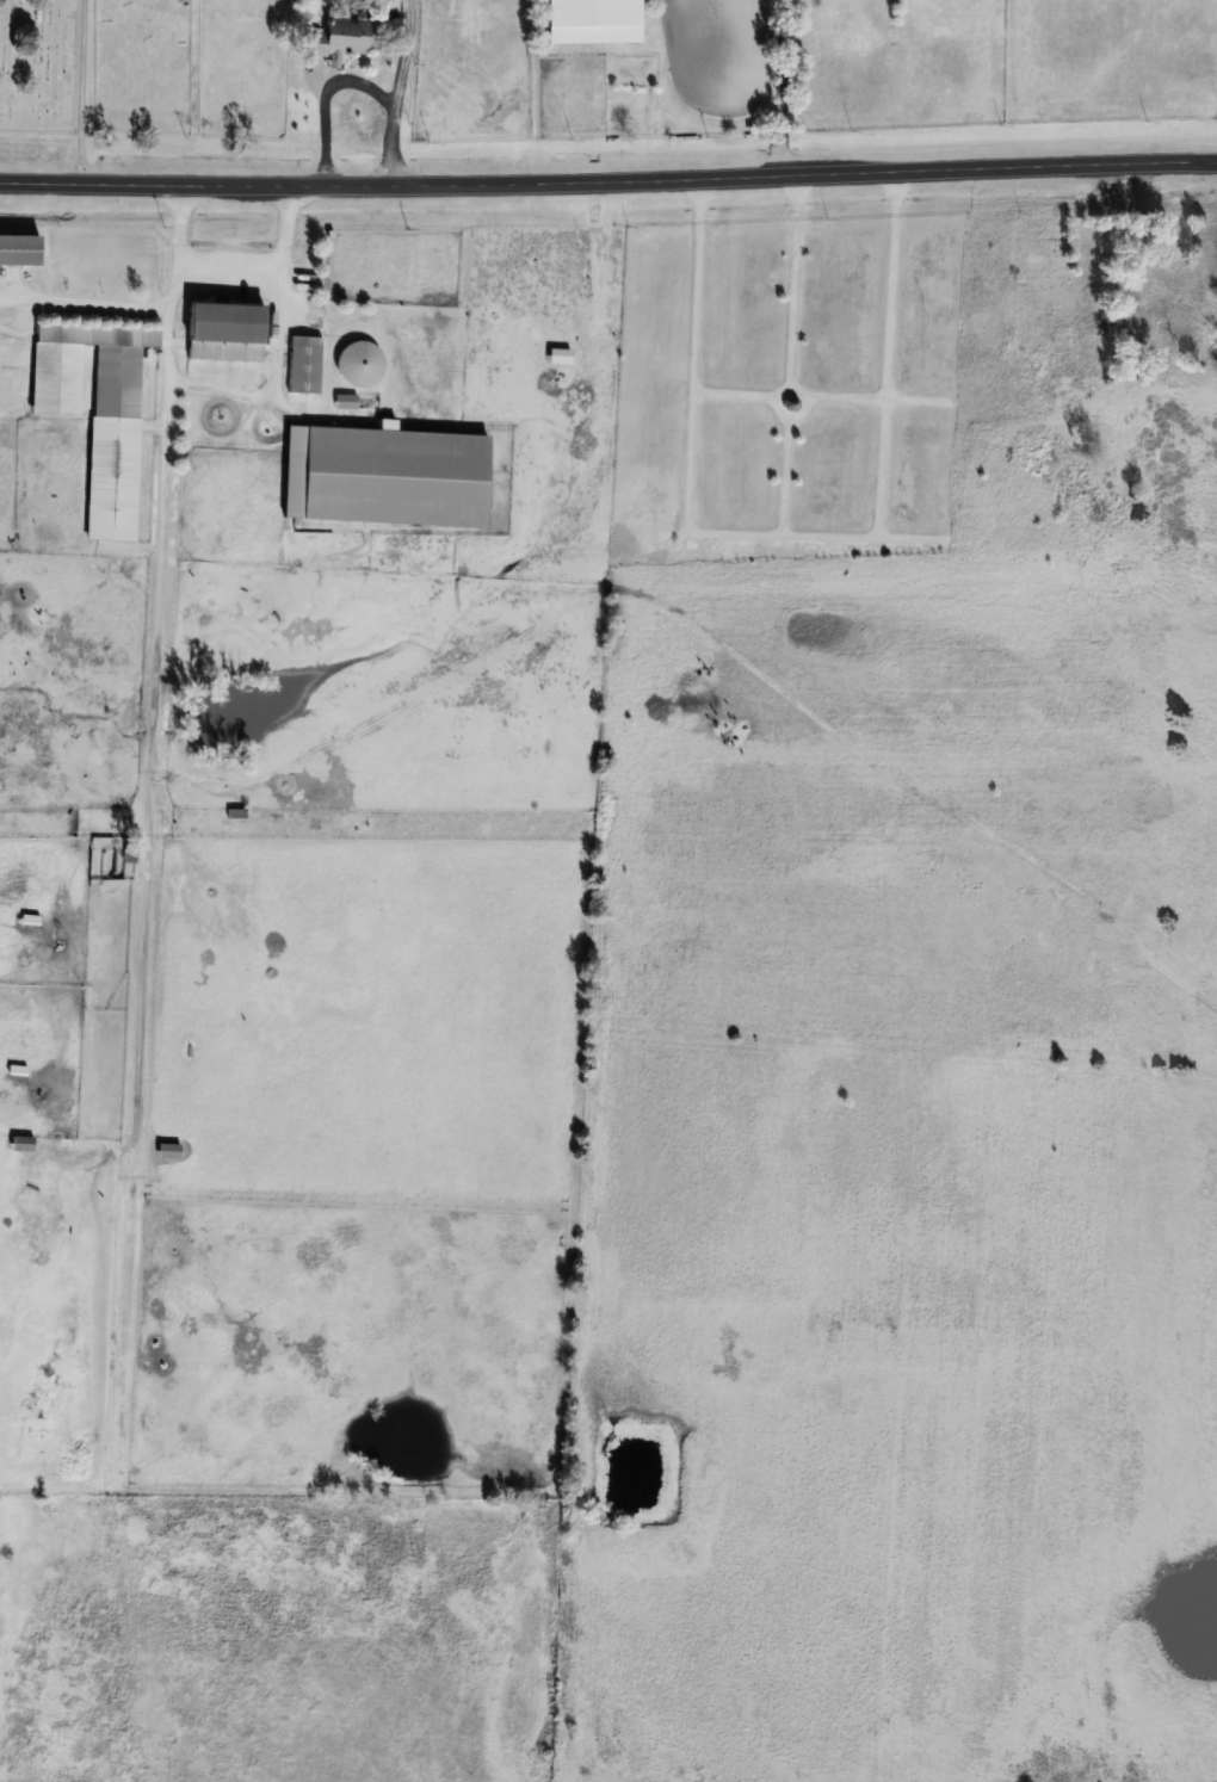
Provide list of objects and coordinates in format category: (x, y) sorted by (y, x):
building: (592, 21)
building: (346, 38)
park: (47, 67)
road: (780, 87)
road: (397, 92)
road: (323, 98)
road: (608, 181)
building: (18, 249)
road: (234, 265)
building: (1173, 295)
road: (146, 303)
building: (224, 330)
road: (283, 339)
building: (558, 357)
building: (303, 364)
building: (357, 364)
building: (1076, 386)
building: (345, 402)
building: (98, 412)
building: (383, 476)
road: (157, 725)
building: (235, 813)
building: (20, 1144)
building: (168, 1151)

